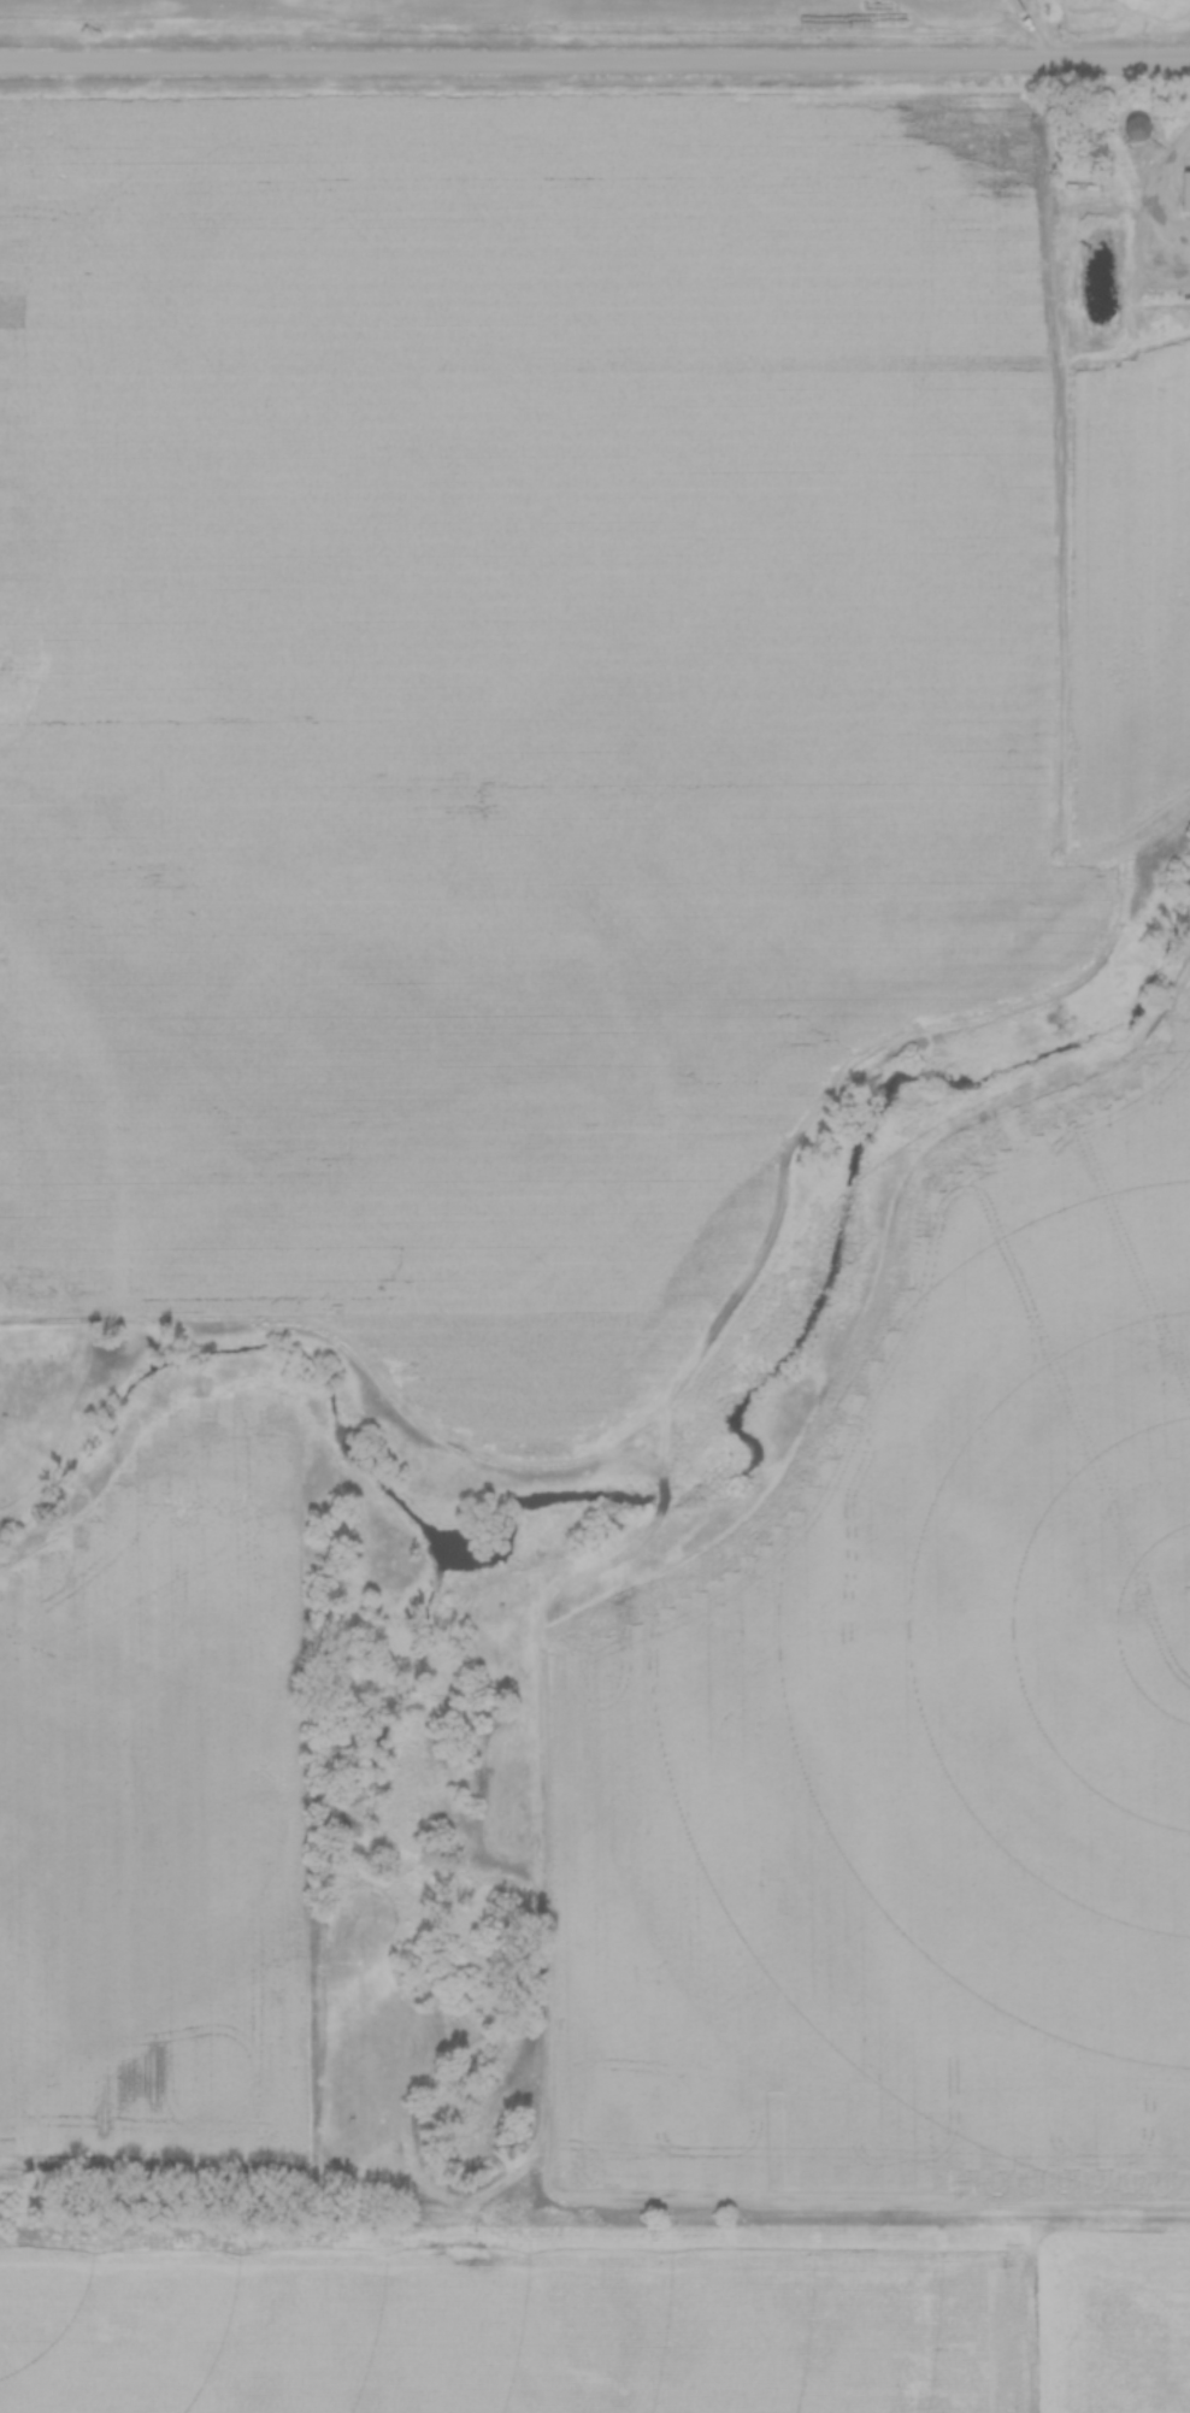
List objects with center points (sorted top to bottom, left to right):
road: (595, 59)
building: (1135, 126)
building: (1184, 190)
crop: (1129, 584)
crop: (158, 1802)

